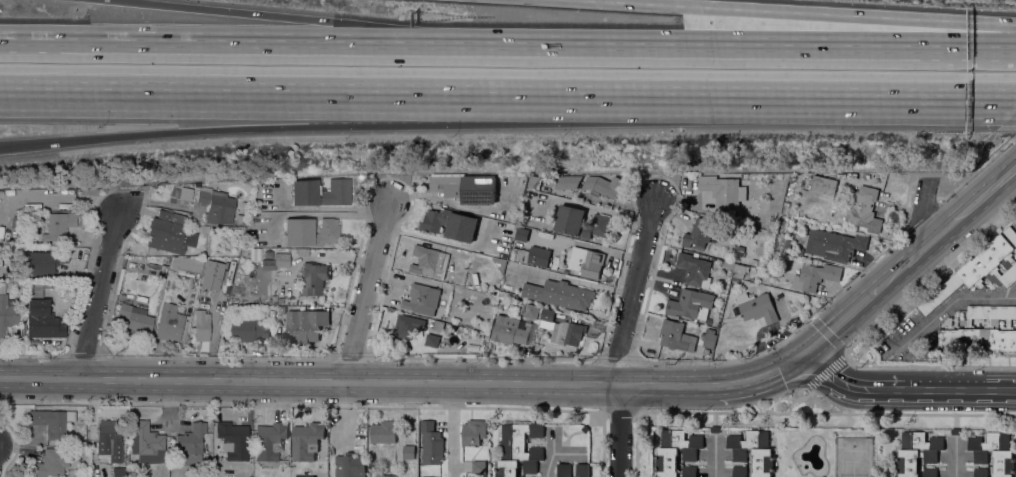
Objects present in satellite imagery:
road: (637, 3)
road: (854, 15)
road: (332, 21)
road: (267, 40)
road: (775, 42)
road: (316, 91)
road: (824, 99)
road: (315, 121)
building: (548, 177)
building: (533, 182)
building: (591, 184)
building: (822, 184)
building: (466, 186)
building: (723, 191)
building: (320, 192)
building: (186, 193)
road: (596, 197)
building: (216, 205)
building: (244, 205)
road: (331, 207)
building: (863, 208)
building: (240, 219)
building: (581, 222)
building: (449, 223)
building: (59, 224)
road: (947, 230)
building: (166, 231)
building: (310, 231)
building: (521, 233)
building: (700, 233)
building: (834, 244)
building: (302, 252)
building: (256, 253)
building: (539, 255)
building: (554, 259)
building: (164, 260)
building: (281, 260)
building: (44, 261)
building: (586, 261)
building: (753, 261)
building: (429, 262)
building: (499, 263)
building: (186, 265)
building: (694, 269)
building: (738, 269)
building: (979, 269)
building: (779, 272)
building: (815, 276)
building: (313, 278)
building: (17, 281)
building: (169, 283)
building: (47, 284)
road: (843, 287)
building: (34, 288)
road: (631, 289)
road: (366, 290)
building: (503, 293)
building: (560, 294)
road: (98, 296)
building: (274, 298)
building: (281, 299)
building: (421, 299)
building: (691, 304)
building: (756, 306)
road: (943, 307)
building: (514, 308)
building: (281, 309)
building: (531, 311)
building: (7, 313)
building: (271, 313)
road: (811, 317)
building: (135, 319)
building: (42, 320)
road: (843, 320)
building: (537, 321)
building: (169, 322)
building: (715, 322)
building: (201, 325)
building: (304, 325)
building: (407, 325)
building: (438, 325)
building: (561, 328)
building: (247, 330)
building: (509, 330)
building: (980, 330)
road: (862, 332)
road: (827, 334)
building: (676, 335)
building: (709, 338)
building: (432, 339)
road: (844, 349)
traffic signals: (808, 351)
road: (46, 353)
road: (844, 357)
road: (827, 373)
road: (408, 381)
road: (860, 389)
road: (971, 390)
road: (798, 400)
road: (331, 405)
road: (825, 413)
building: (51, 422)
building: (585, 428)
building: (715, 428)
road: (451, 429)
road: (619, 430)
building: (955, 430)
building: (473, 431)
building: (383, 432)
building: (107, 433)
building: (233, 439)
building: (269, 440)
building: (306, 440)
building: (146, 442)
building: (191, 443)
building: (430, 443)
road: (17, 446)
building: (518, 450)
road: (552, 450)
building: (408, 452)
building: (916, 452)
building: (994, 452)
building: (677, 453)
building: (752, 453)
road: (713, 456)
road: (953, 458)
building: (50, 463)
building: (350, 466)
building: (478, 466)
building: (564, 468)
building: (980, 471)
building: (117, 472)
building: (930, 472)
building: (383, 475)
building: (425, 476)

